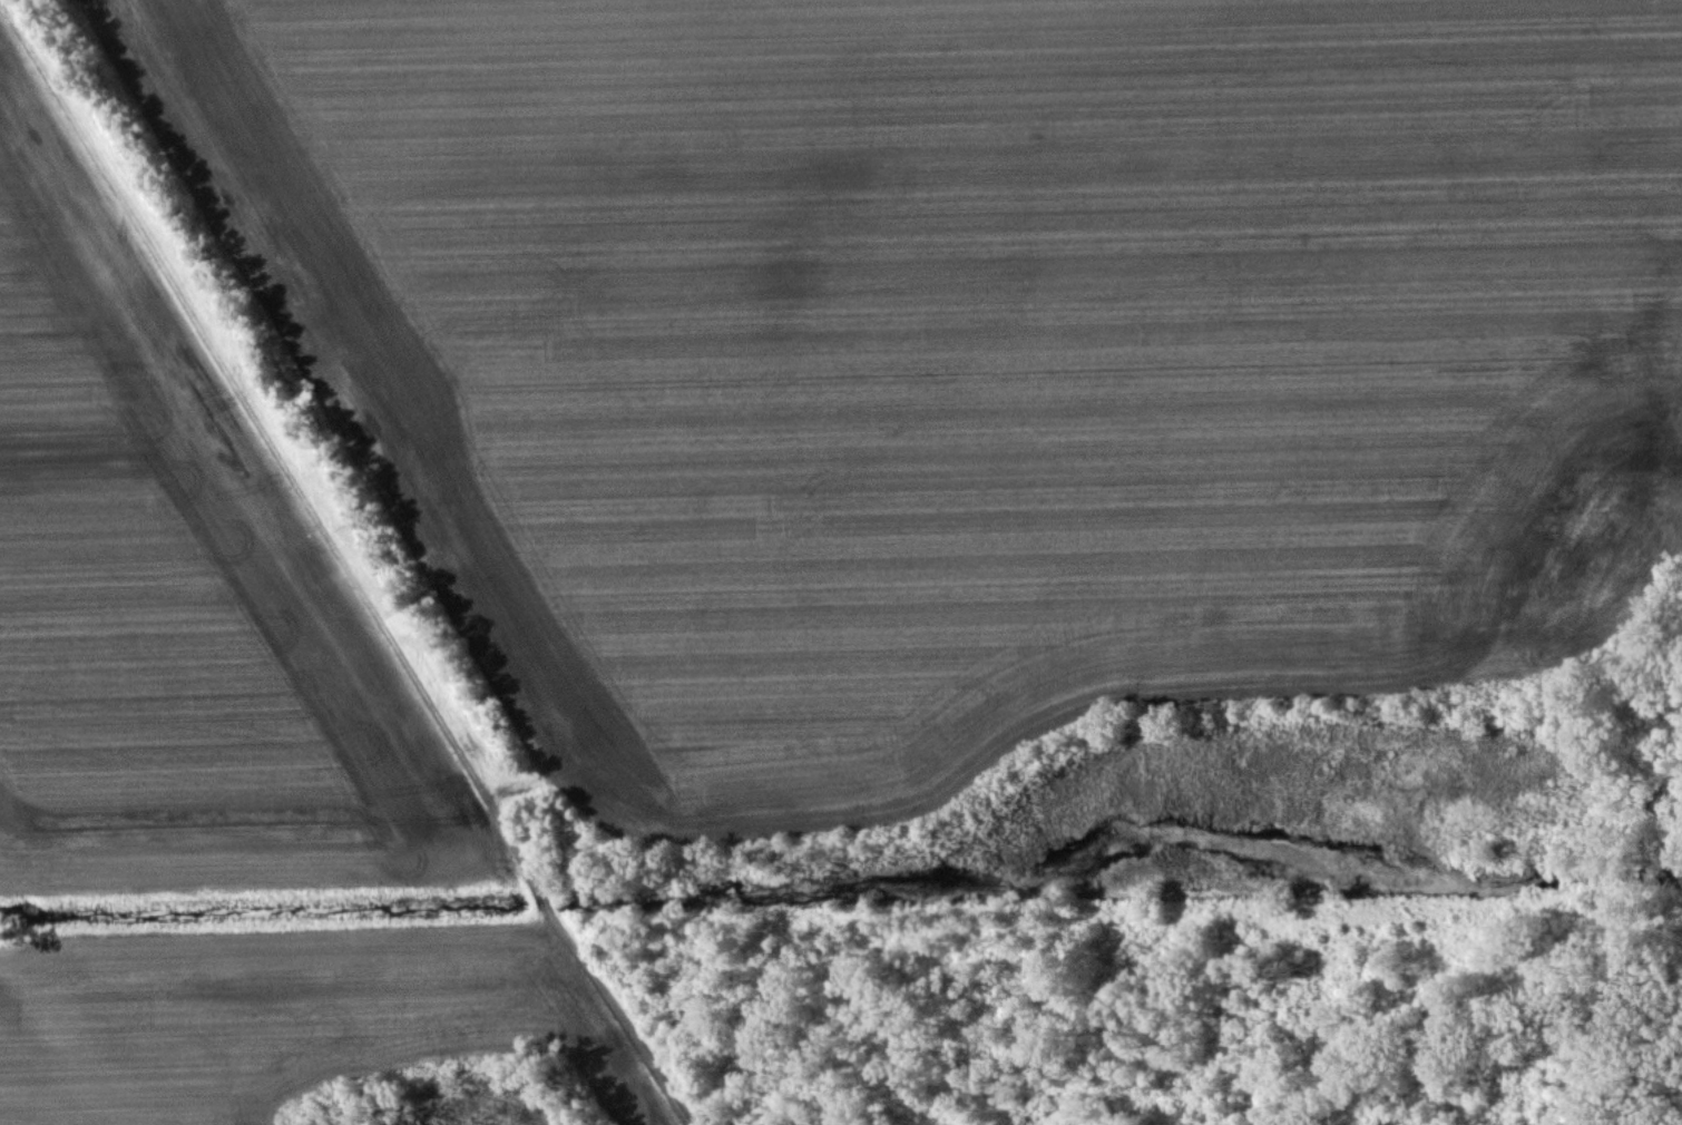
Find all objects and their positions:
building: (368, 561)
road: (1517, 913)

